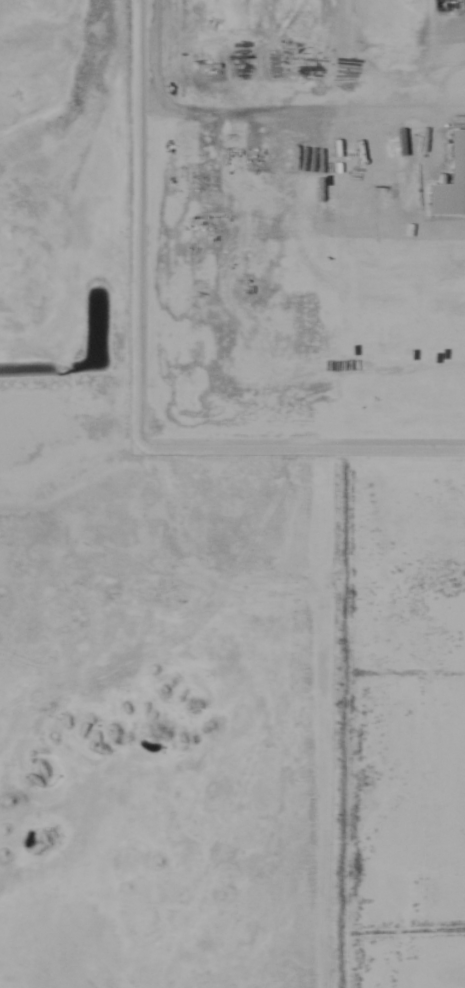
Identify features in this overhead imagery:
building: (375, 17)
building: (428, 152)
building: (388, 153)
building: (408, 163)
building: (268, 193)

